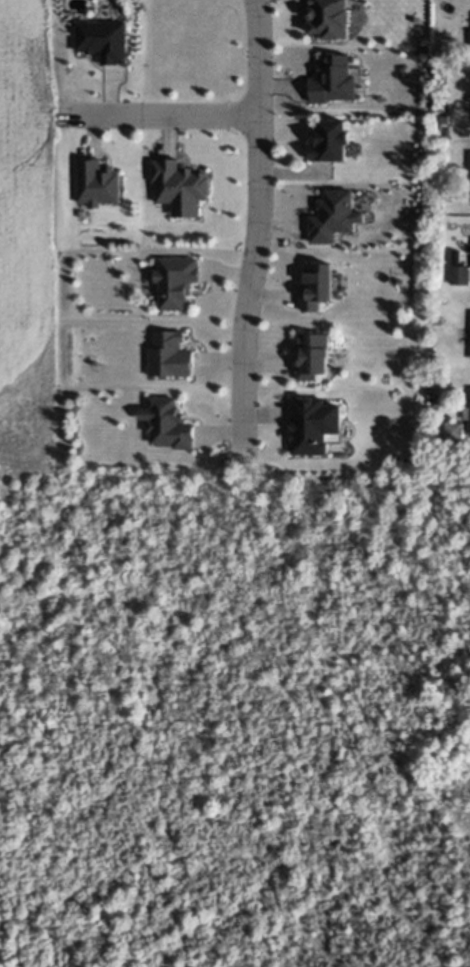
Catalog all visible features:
building: (330, 18)
building: (102, 41)
building: (469, 46)
building: (333, 81)
road: (167, 113)
building: (443, 119)
building: (330, 142)
building: (469, 179)
building: (95, 184)
building: (178, 187)
building: (447, 198)
building: (331, 216)
road: (258, 222)
building: (458, 276)
building: (175, 282)
building: (315, 286)
building: (436, 321)
building: (469, 337)
building: (168, 356)
building: (311, 356)
building: (469, 421)
building: (166, 424)
building: (313, 425)
building: (452, 432)

